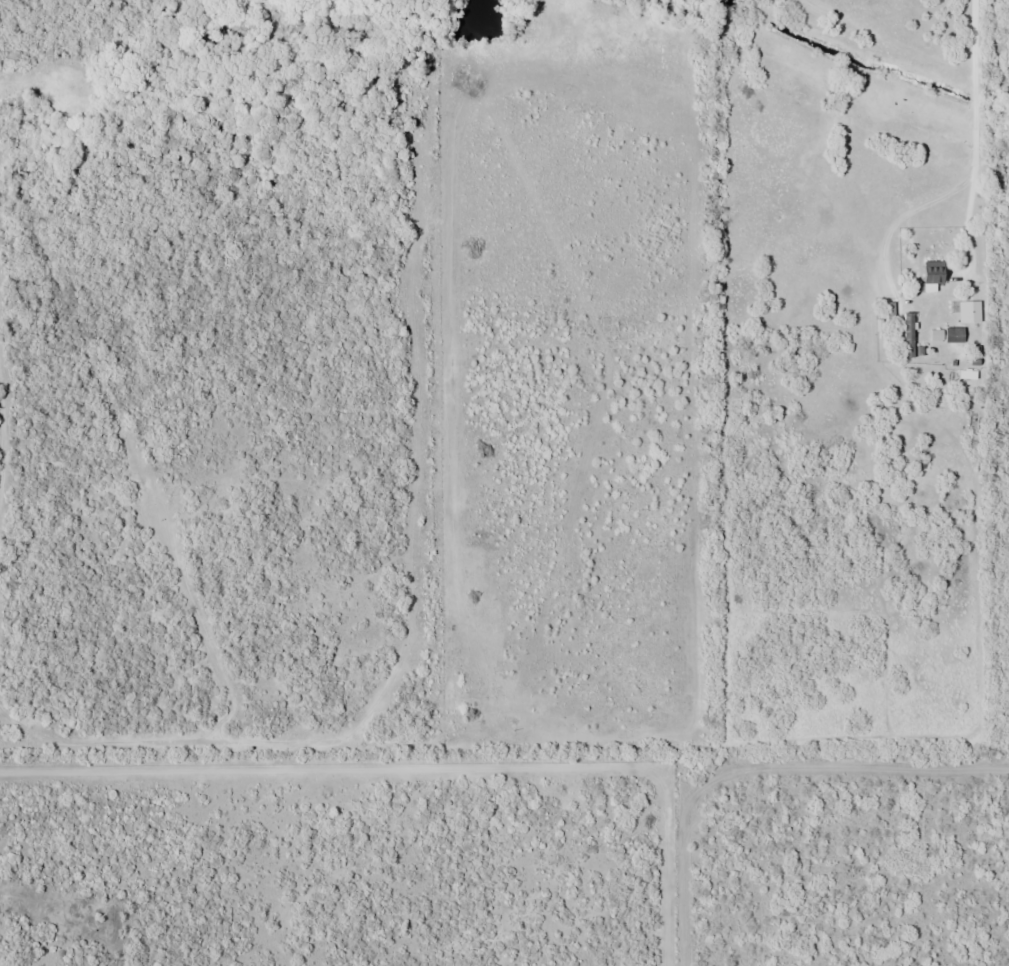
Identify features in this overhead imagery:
road: (975, 134)
building: (930, 271)
building: (967, 310)
building: (907, 334)
building: (952, 334)
building: (966, 373)

